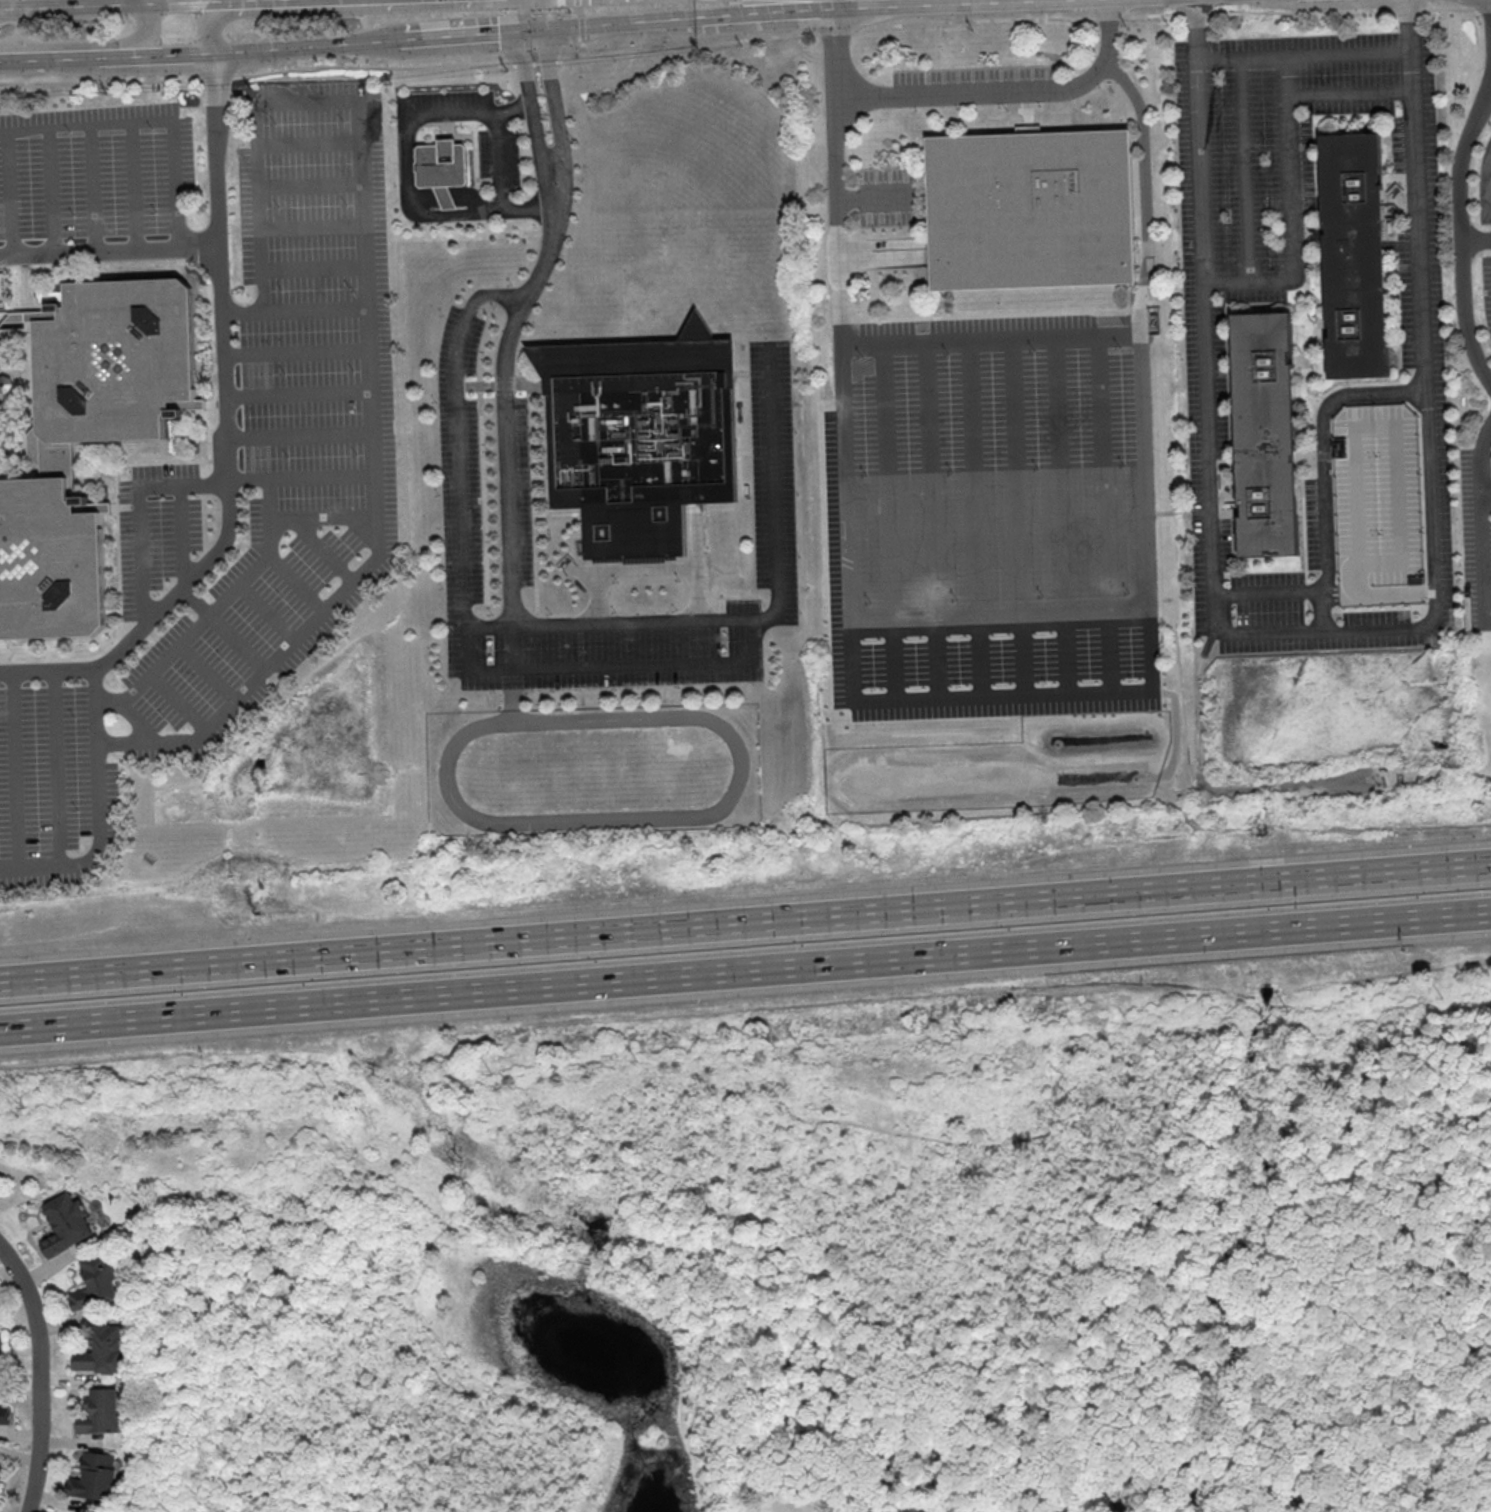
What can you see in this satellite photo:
road: (255, 1)
road: (144, 2)
road: (109, 6)
road: (770, 9)
road: (547, 14)
road: (580, 20)
road: (617, 23)
road: (1408, 25)
traffic signals: (546, 28)
road: (207, 29)
road: (1195, 29)
road: (461, 34)
road: (147, 35)
road: (745, 40)
road: (310, 48)
road: (582, 49)
road: (1303, 55)
road: (172, 57)
road: (62, 60)
parking lot: (973, 84)
road: (1006, 89)
road: (1349, 90)
road: (325, 98)
parking lot: (444, 98)
road: (556, 106)
road: (531, 108)
road: (149, 122)
road: (308, 140)
parking lot: (499, 156)
road: (497, 159)
road: (1244, 167)
building: (444, 169)
parking lot: (94, 170)
road: (405, 173)
road: (309, 183)
parking lot: (1485, 184)
road: (130, 187)
road: (90, 189)
road: (49, 191)
road: (1145, 191)
road: (7, 193)
parking lot: (888, 193)
road: (446, 195)
road: (876, 195)
road: (423, 196)
road: (472, 198)
building: (1037, 210)
road: (1291, 210)
road: (310, 228)
road: (1460, 232)
road: (109, 250)
building: (1357, 254)
road: (880, 256)
road: (311, 266)
parking lot: (1487, 288)
road: (292, 311)
parking lot: (1421, 337)
road: (990, 339)
road: (294, 351)
building: (110, 366)
road: (297, 392)
road: (1339, 396)
building: (1264, 435)
road: (298, 436)
road: (225, 437)
building: (645, 437)
road: (1479, 457)
parking lot: (993, 473)
road: (1106, 474)
road: (300, 476)
road: (1059, 476)
road: (1017, 477)
road: (974, 479)
road: (931, 480)
road: (887, 482)
parking lot: (328, 484)
parking lot: (484, 491)
road: (1485, 494)
building: (1380, 505)
parking lot: (1380, 505)
road: (138, 516)
road: (322, 519)
road: (995, 521)
road: (509, 525)
road: (1482, 559)
building: (50, 562)
road: (643, 567)
road: (298, 580)
road: (1323, 586)
road: (1320, 599)
road: (847, 604)
road: (323, 608)
road: (214, 610)
road: (268, 611)
road: (1324, 628)
road: (489, 631)
road: (238, 641)
road: (513, 649)
road: (561, 666)
road: (208, 671)
road: (512, 694)
road: (177, 702)
road: (139, 721)
road: (56, 768)
road: (15, 771)
road: (98, 810)
road: (674, 816)
road: (745, 923)
road: (745, 971)
road: (1394, 1107)
road: (1252, 1122)
road: (1240, 1132)
road: (986, 1146)
road: (1354, 1155)
building: (65, 1223)
road: (473, 1235)
road: (606, 1237)
road: (587, 1261)
park: (829, 1263)
building: (96, 1282)
road: (1416, 1295)
road: (946, 1328)
building: (1, 1342)
building: (101, 1350)
road: (737, 1362)
road: (41, 1375)
road: (361, 1386)
road: (472, 1400)
road: (745, 1408)
building: (100, 1412)
road: (1209, 1412)
building: (4, 1414)
road: (1267, 1419)
road: (582, 1423)
road: (682, 1436)
road: (1340, 1463)
road: (1266, 1465)
building: (0, 1468)
building: (94, 1476)

